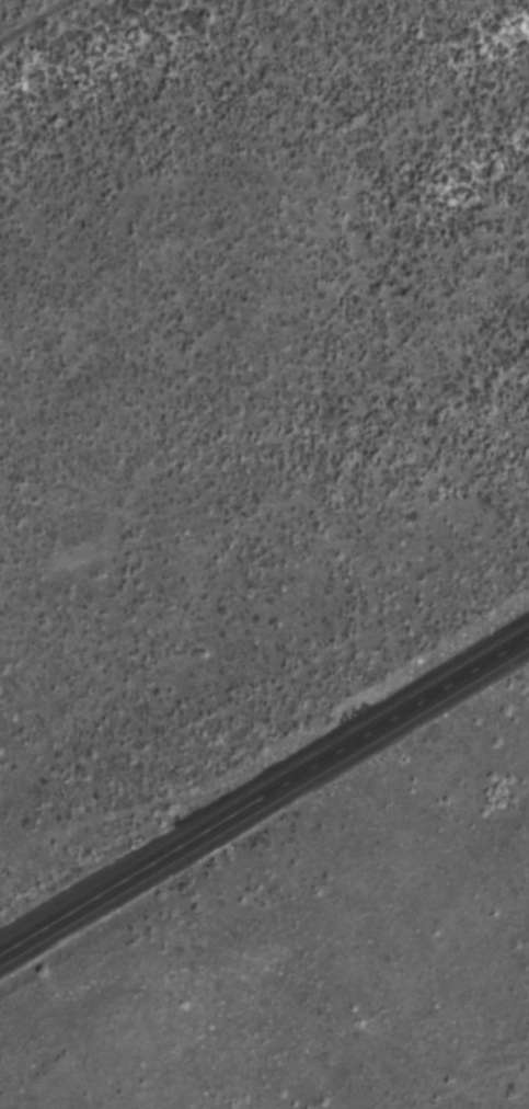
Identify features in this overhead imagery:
road: (32, 19)
road: (264, 791)

